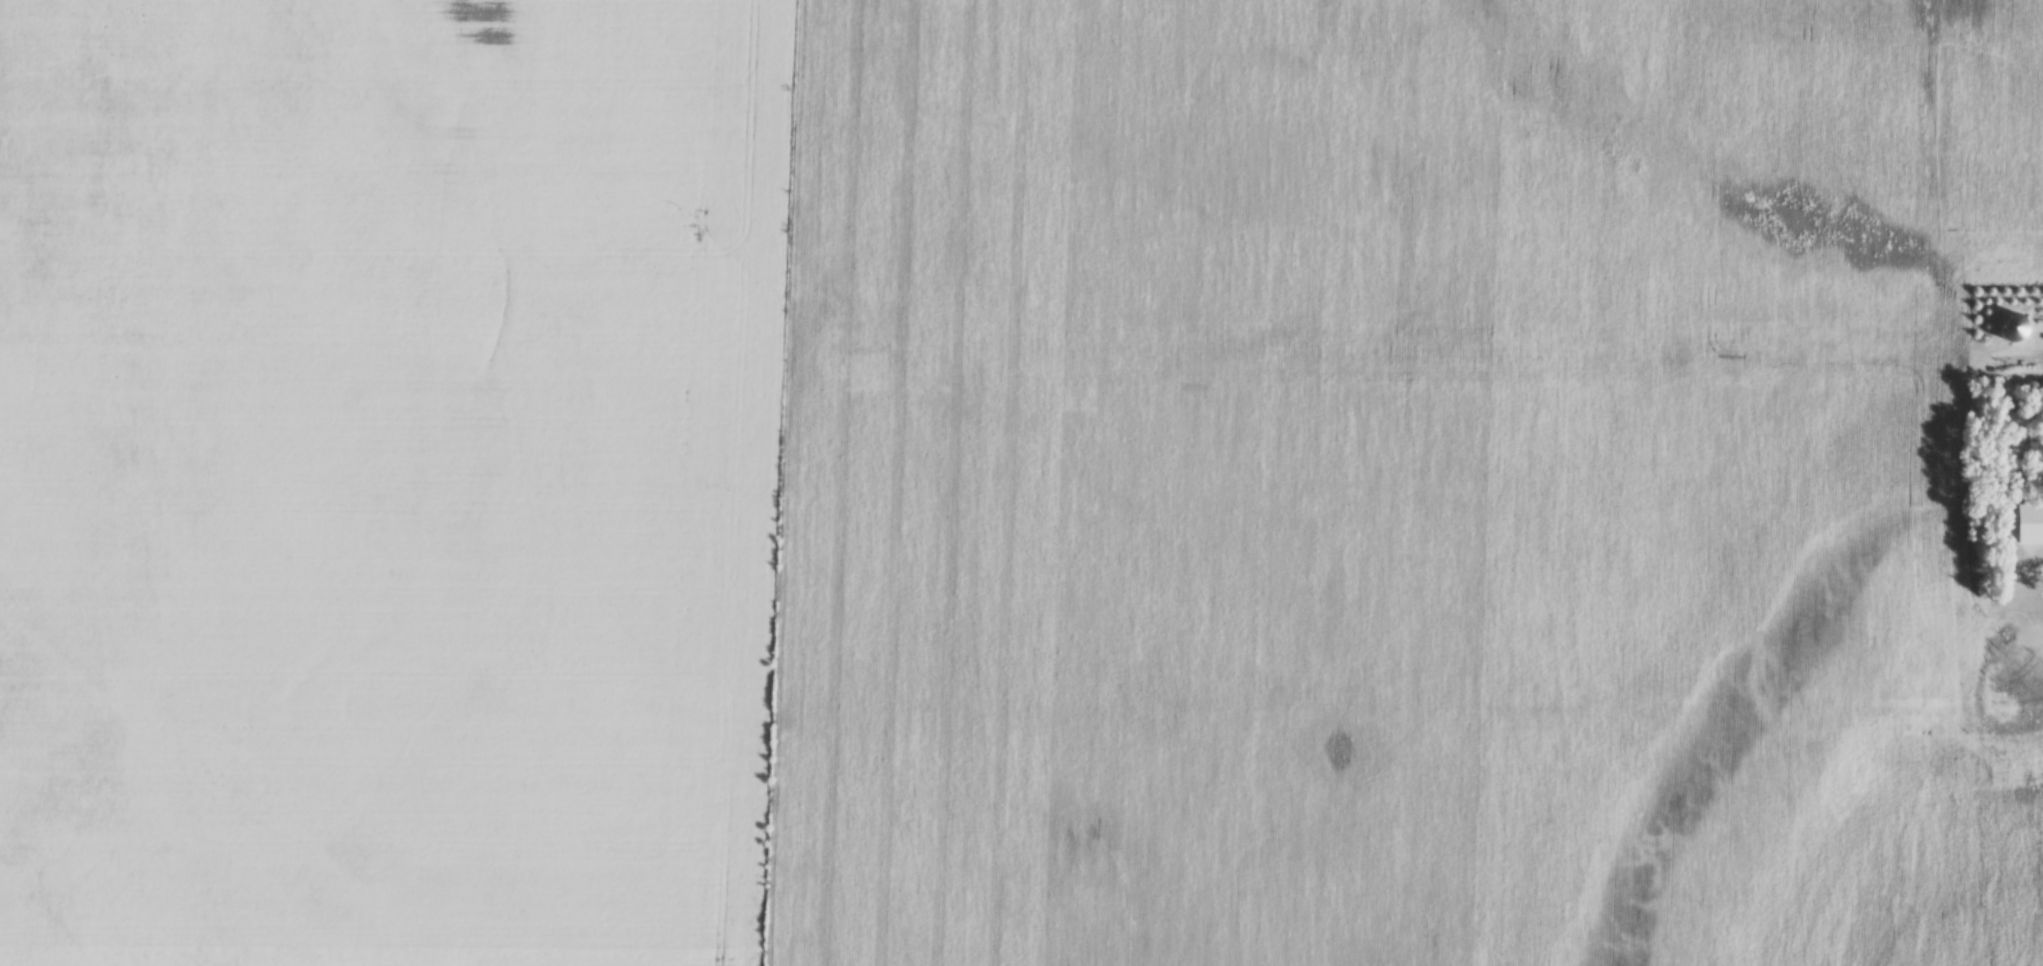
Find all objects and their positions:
building: (2030, 526)

